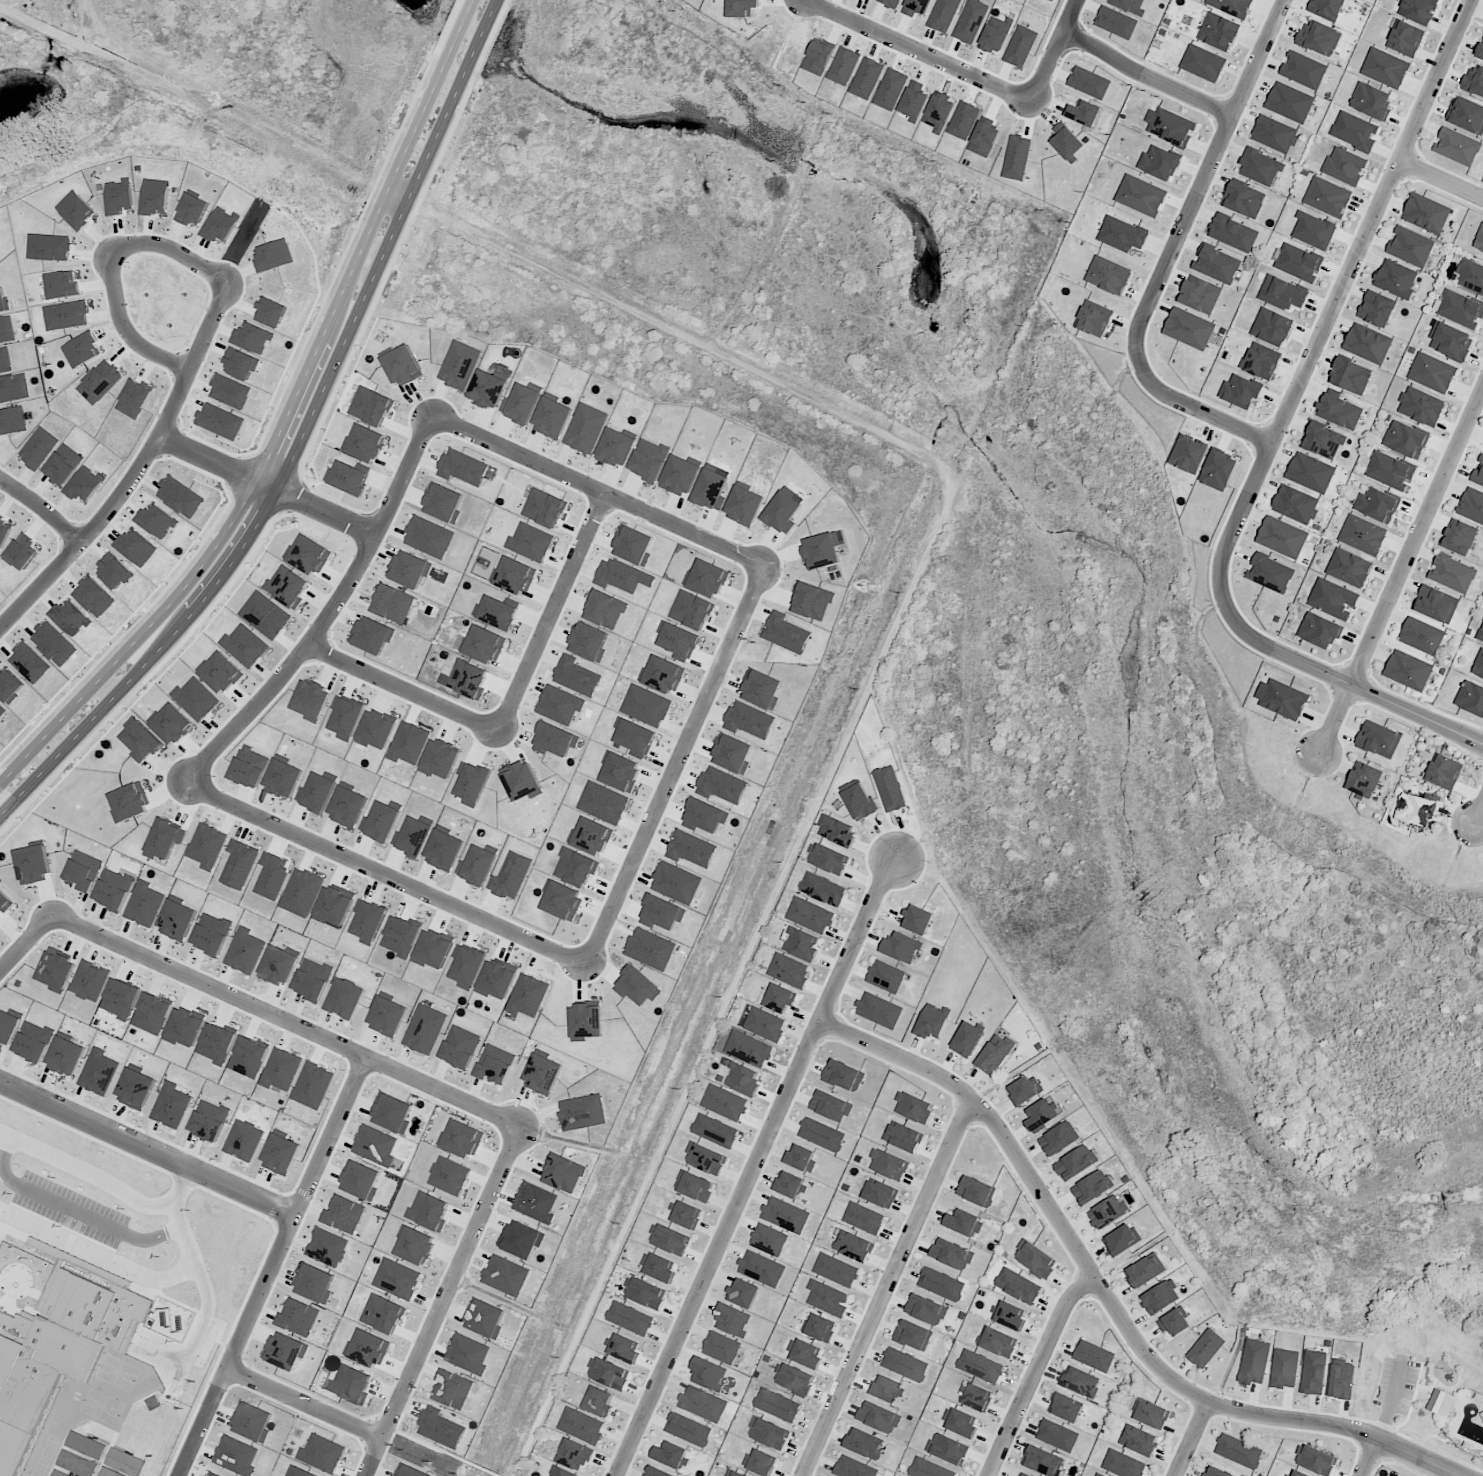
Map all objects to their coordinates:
building: (1052, 0)
road: (814, 1)
building: (890, 3)
building: (1129, 5)
building: (1232, 6)
building: (742, 7)
building: (916, 7)
building: (1327, 8)
building: (1418, 10)
building: (943, 15)
building: (971, 21)
building: (1116, 22)
building: (1218, 31)
building: (996, 34)
building: (1319, 37)
building: (1406, 38)
building: (1020, 46)
building: (1480, 50)
road: (1067, 53)
road: (929, 55)
building: (818, 57)
building: (1203, 63)
building: (843, 66)
building: (1385, 67)
building: (1303, 70)
building: (866, 78)
road: (1158, 80)
building: (1474, 80)
building: (1089, 82)
building: (891, 89)
building: (914, 99)
building: (1371, 101)
building: (1289, 102)
building: (939, 112)
building: (1084, 112)
building: (1466, 114)
building: (964, 120)
building: (1172, 127)
building: (1355, 131)
building: (1274, 134)
building: (984, 139)
building: (1066, 141)
building: (1456, 146)
building: (1017, 157)
building: (1159, 163)
building: (1344, 165)
building: (1260, 166)
road: (1218, 177)
road: (1446, 181)
building: (1141, 195)
building: (1327, 197)
building: (1244, 199)
building: (1426, 213)
building: (1313, 230)
building: (1234, 232)
building: (1122, 234)
building: (1479, 240)
building: (1411, 246)
road: (171, 248)
building: (1299, 263)
building: (1217, 265)
building: (1108, 275)
building: (1471, 275)
building: (1395, 278)
building: (1282, 293)
building: (1200, 294)
road: (1349, 300)
building: (1460, 308)
building: (1376, 309)
building: (1094, 318)
road: (125, 327)
building: (1272, 327)
building: (1189, 328)
building: (1450, 341)
building: (1368, 343)
building: (1262, 361)
building: (402, 365)
building: (459, 365)
building: (1432, 372)
building: (1351, 376)
building: (487, 389)
building: (1241, 392)
building: (521, 404)
building: (371, 406)
building: (1421, 406)
building: (1339, 411)
road: (1206, 413)
building: (552, 417)
building: (585, 428)
road: (293, 432)
building: (1406, 439)
building: (1323, 440)
building: (364, 443)
building: (615, 447)
road: (308, 451)
building: (1188, 453)
building: (648, 459)
building: (462, 467)
building: (1219, 469)
building: (1390, 470)
road: (138, 472)
building: (1310, 472)
building: (1479, 473)
building: (680, 475)
building: (348, 478)
road: (268, 481)
road: (598, 486)
building: (710, 489)
building: (443, 503)
building: (1295, 504)
building: (1377, 504)
building: (744, 505)
building: (1471, 505)
road: (43, 508)
building: (544, 508)
building: (782, 512)
building: (1362, 534)
building: (429, 536)
building: (1282, 537)
building: (1459, 537)
building: (531, 541)
building: (633, 545)
building: (822, 549)
building: (307, 555)
building: (1349, 567)
building: (409, 569)
building: (1270, 573)
building: (1452, 573)
building: (514, 576)
building: (622, 576)
building: (706, 578)
road: (1404, 580)
building: (287, 586)
building: (1333, 598)
building: (812, 601)
building: (393, 603)
building: (1436, 604)
building: (604, 609)
road: (552, 610)
building: (497, 613)
road: (327, 614)
building: (1320, 630)
building: (786, 633)
building: (1480, 633)
building: (371, 634)
building: (1421, 636)
building: (589, 642)
building: (483, 644)
building: (245, 645)
building: (1478, 665)
building: (1408, 670)
building: (220, 672)
building: (576, 676)
building: (467, 678)
road: (1350, 682)
road: (402, 687)
building: (761, 689)
building: (1471, 698)
building: (196, 699)
building: (311, 699)
building: (1284, 699)
building: (560, 704)
building: (345, 717)
building: (750, 720)
building: (376, 729)
building: (554, 739)
building: (1378, 739)
building: (140, 740)
building: (408, 743)
building: (731, 752)
building: (440, 759)
road: (675, 762)
building: (249, 767)
building: (1444, 771)
building: (283, 778)
building: (1364, 779)
building: (521, 781)
building: (472, 783)
building: (723, 785)
building: (890, 788)
road: (822, 795)
building: (859, 800)
building: (129, 802)
building: (1416, 809)
building: (705, 816)
road: (1482, 820)
building: (836, 830)
building: (591, 836)
building: (165, 839)
building: (207, 846)
building: (691, 849)
building: (827, 858)
building: (33, 863)
building: (239, 864)
building: (479, 865)
building: (84, 871)
road: (380, 873)
building: (272, 875)
building: (511, 875)
building: (677, 882)
building: (114, 889)
building: (823, 889)
building: (302, 892)
building: (562, 901)
building: (4, 902)
building: (145, 904)
building: (334, 906)
building: (661, 913)
building: (810, 914)
building: (177, 919)
building: (918, 920)
building: (211, 933)
road: (26, 944)
building: (801, 944)
building: (901, 947)
building: (650, 948)
building: (245, 951)
building: (279, 965)
building: (789, 969)
building: (56, 971)
building: (886, 976)
building: (312, 979)
building: (89, 981)
building: (637, 986)
building: (120, 998)
building: (344, 998)
building: (780, 998)
building: (879, 1010)
building: (152, 1013)
building: (387, 1016)
building: (585, 1021)
building: (932, 1021)
road: (287, 1022)
building: (765, 1024)
building: (8, 1026)
building: (184, 1026)
building: (425, 1029)
building: (967, 1039)
building: (34, 1041)
building: (216, 1042)
building: (460, 1047)
building: (749, 1048)
building: (994, 1054)
building: (65, 1055)
building: (248, 1057)
building: (495, 1064)
building: (281, 1069)
building: (98, 1071)
building: (543, 1074)
building: (843, 1075)
building: (743, 1079)
building: (313, 1085)
building: (136, 1088)
building: (1022, 1091)
building: (724, 1102)
building: (171, 1105)
building: (830, 1105)
building: (913, 1106)
building: (582, 1112)
building: (392, 1113)
building: (1040, 1114)
building: (209, 1120)
building: (715, 1130)
building: (822, 1134)
building: (903, 1136)
building: (1059, 1138)
building: (461, 1139)
building: (244, 1140)
building: (375, 1145)
road: (148, 1146)
building: (281, 1153)
building: (705, 1158)
building: (800, 1158)
road: (757, 1162)
building: (1076, 1162)
building: (888, 1164)
road: (88, 1170)
building: (563, 1173)
building: (449, 1175)
building: (360, 1180)
building: (790, 1185)
building: (694, 1186)
building: (1092, 1187)
building: (977, 1191)
building: (880, 1194)
building: (536, 1202)
road: (77, 1207)
building: (429, 1210)
building: (1109, 1211)
building: (344, 1214)
building: (685, 1214)
building: (786, 1215)
building: (863, 1217)
building: (963, 1222)
building: (521, 1239)
building: (669, 1239)
building: (1122, 1239)
building: (769, 1240)
building: (414, 1245)
building: (853, 1246)
building: (327, 1247)
road: (100, 1251)
building: (952, 1254)
road: (199, 1255)
building: (1035, 1259)
road: (272, 1267)
building: (659, 1267)
building: (762, 1269)
building: (836, 1270)
building: (1145, 1271)
building: (505, 1275)
building: (397, 1278)
building: (314, 1283)
building: (942, 1284)
road: (884, 1286)
building: (1018, 1286)
building: (743, 1292)
building: (644, 1293)
building: (1161, 1296)
building: (827, 1298)
road: (1105, 1299)
road: (441, 1301)
building: (926, 1310)
building: (383, 1313)
building: (1010, 1315)
building: (298, 1317)
building: (485, 1318)
building: (629, 1318)
building: (732, 1320)
building: (1173, 1322)
building: (820, 1328)
building: (913, 1335)
building: (997, 1341)
building: (721, 1347)
building: (623, 1348)
building: (1205, 1348)
building: (285, 1351)
building: (56, 1352)
building: (804, 1353)
building: (468, 1354)
building: (1094, 1355)
building: (1254, 1361)
building: (905, 1364)
building: (980, 1366)
building: (1284, 1368)
building: (1314, 1372)
building: (608, 1373)
building: (709, 1373)
road: (1035, 1374)
building: (793, 1379)
building: (1342, 1379)
building: (1081, 1382)
building: (351, 1384)
building: (886, 1388)
building: (453, 1389)
building: (976, 1396)
road: (302, 1402)
building: (599, 1402)
building: (1441, 1402)
building: (153, 1403)
building: (703, 1404)
building: (777, 1404)
building: (1066, 1407)
building: (1151, 1414)
building: (878, 1417)
building: (252, 1422)
building: (960, 1423)
building: (581, 1425)
building: (440, 1428)
building: (688, 1429)
building: (768, 1433)
building: (1057, 1435)
road: (1191, 1438)
building: (1139, 1440)
building: (864, 1443)
building: (948, 1448)
building: (1239, 1451)
building: (322, 1453)
building: (574, 1454)
building: (236, 1455)
building: (671, 1455)
road: (1368, 1457)
building: (1042, 1460)
building: (1315, 1460)
building: (760, 1462)
building: (1123, 1464)
building: (854, 1468)
building: (928, 1468)
building: (410, 1471)
building: (299, 1472)
building: (561, 1472)
building: (656, 1472)
building: (1215, 1472)
building: (733, 1473)
building: (214, 1474)
building: (1099, 1474)
building: (1297, 1474)
building: (1022, 1475)

